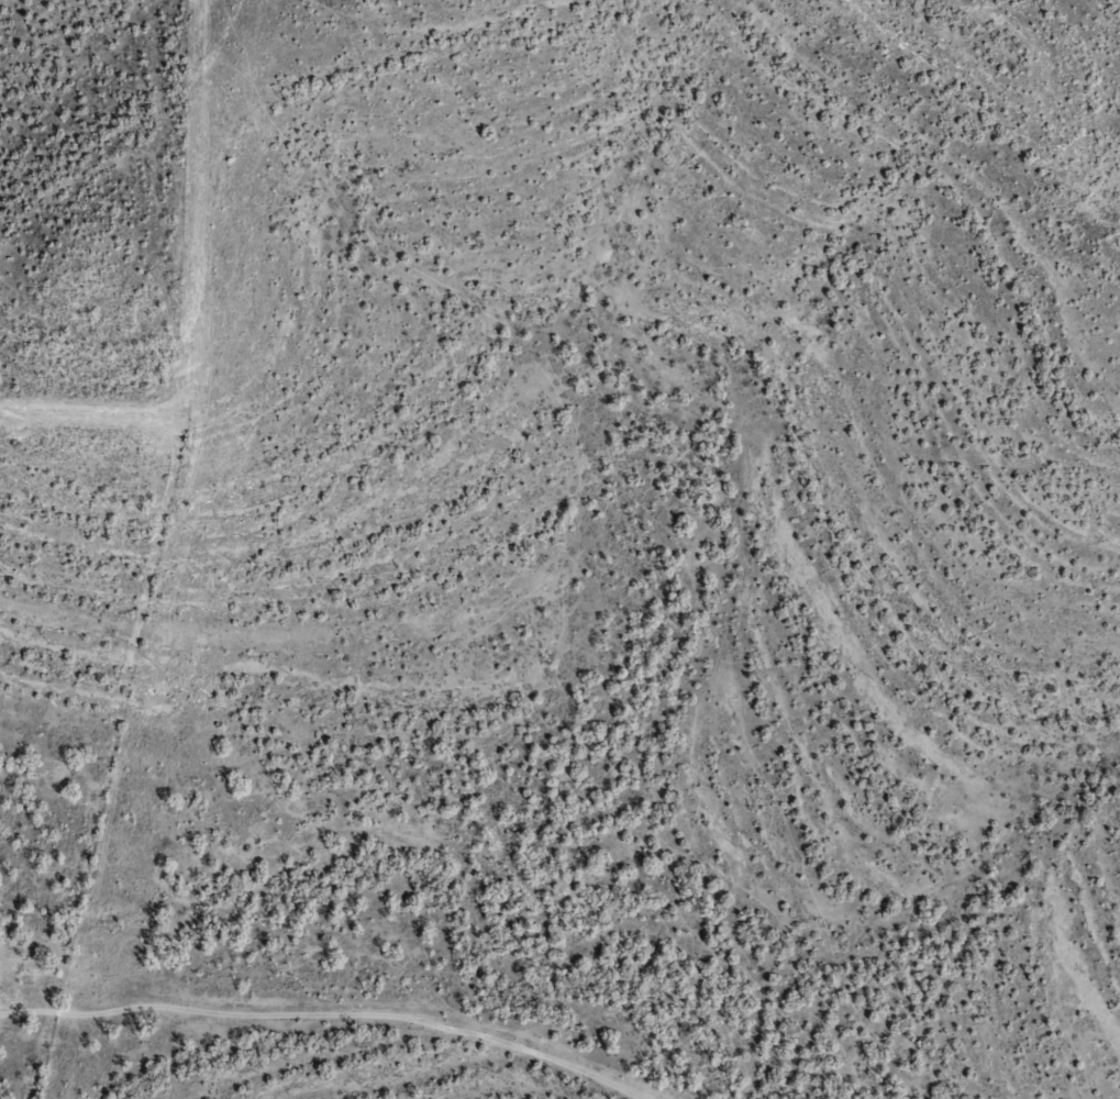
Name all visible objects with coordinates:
road: (310, 1004)

